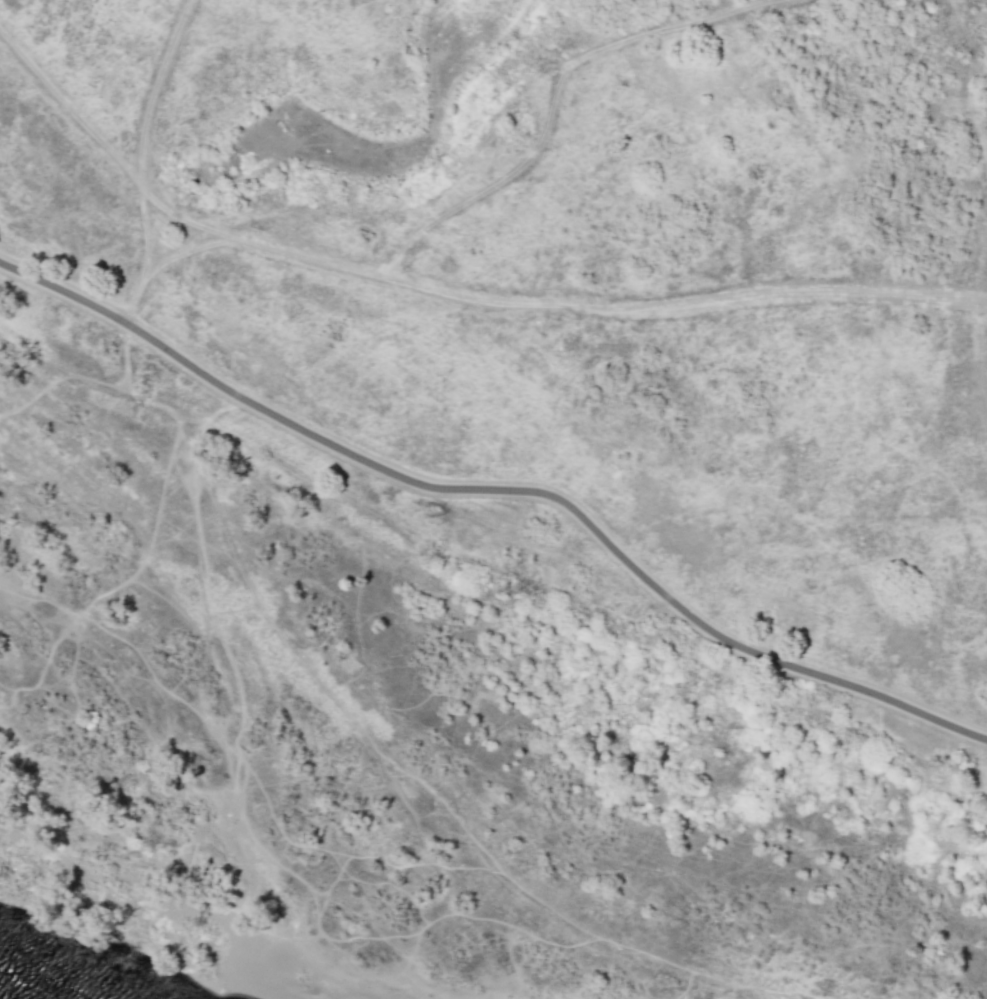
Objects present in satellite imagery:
road: (145, 128)
road: (977, 128)
road: (422, 203)
road: (979, 269)
road: (449, 295)
road: (500, 491)
road: (494, 565)
river: (24, 984)

